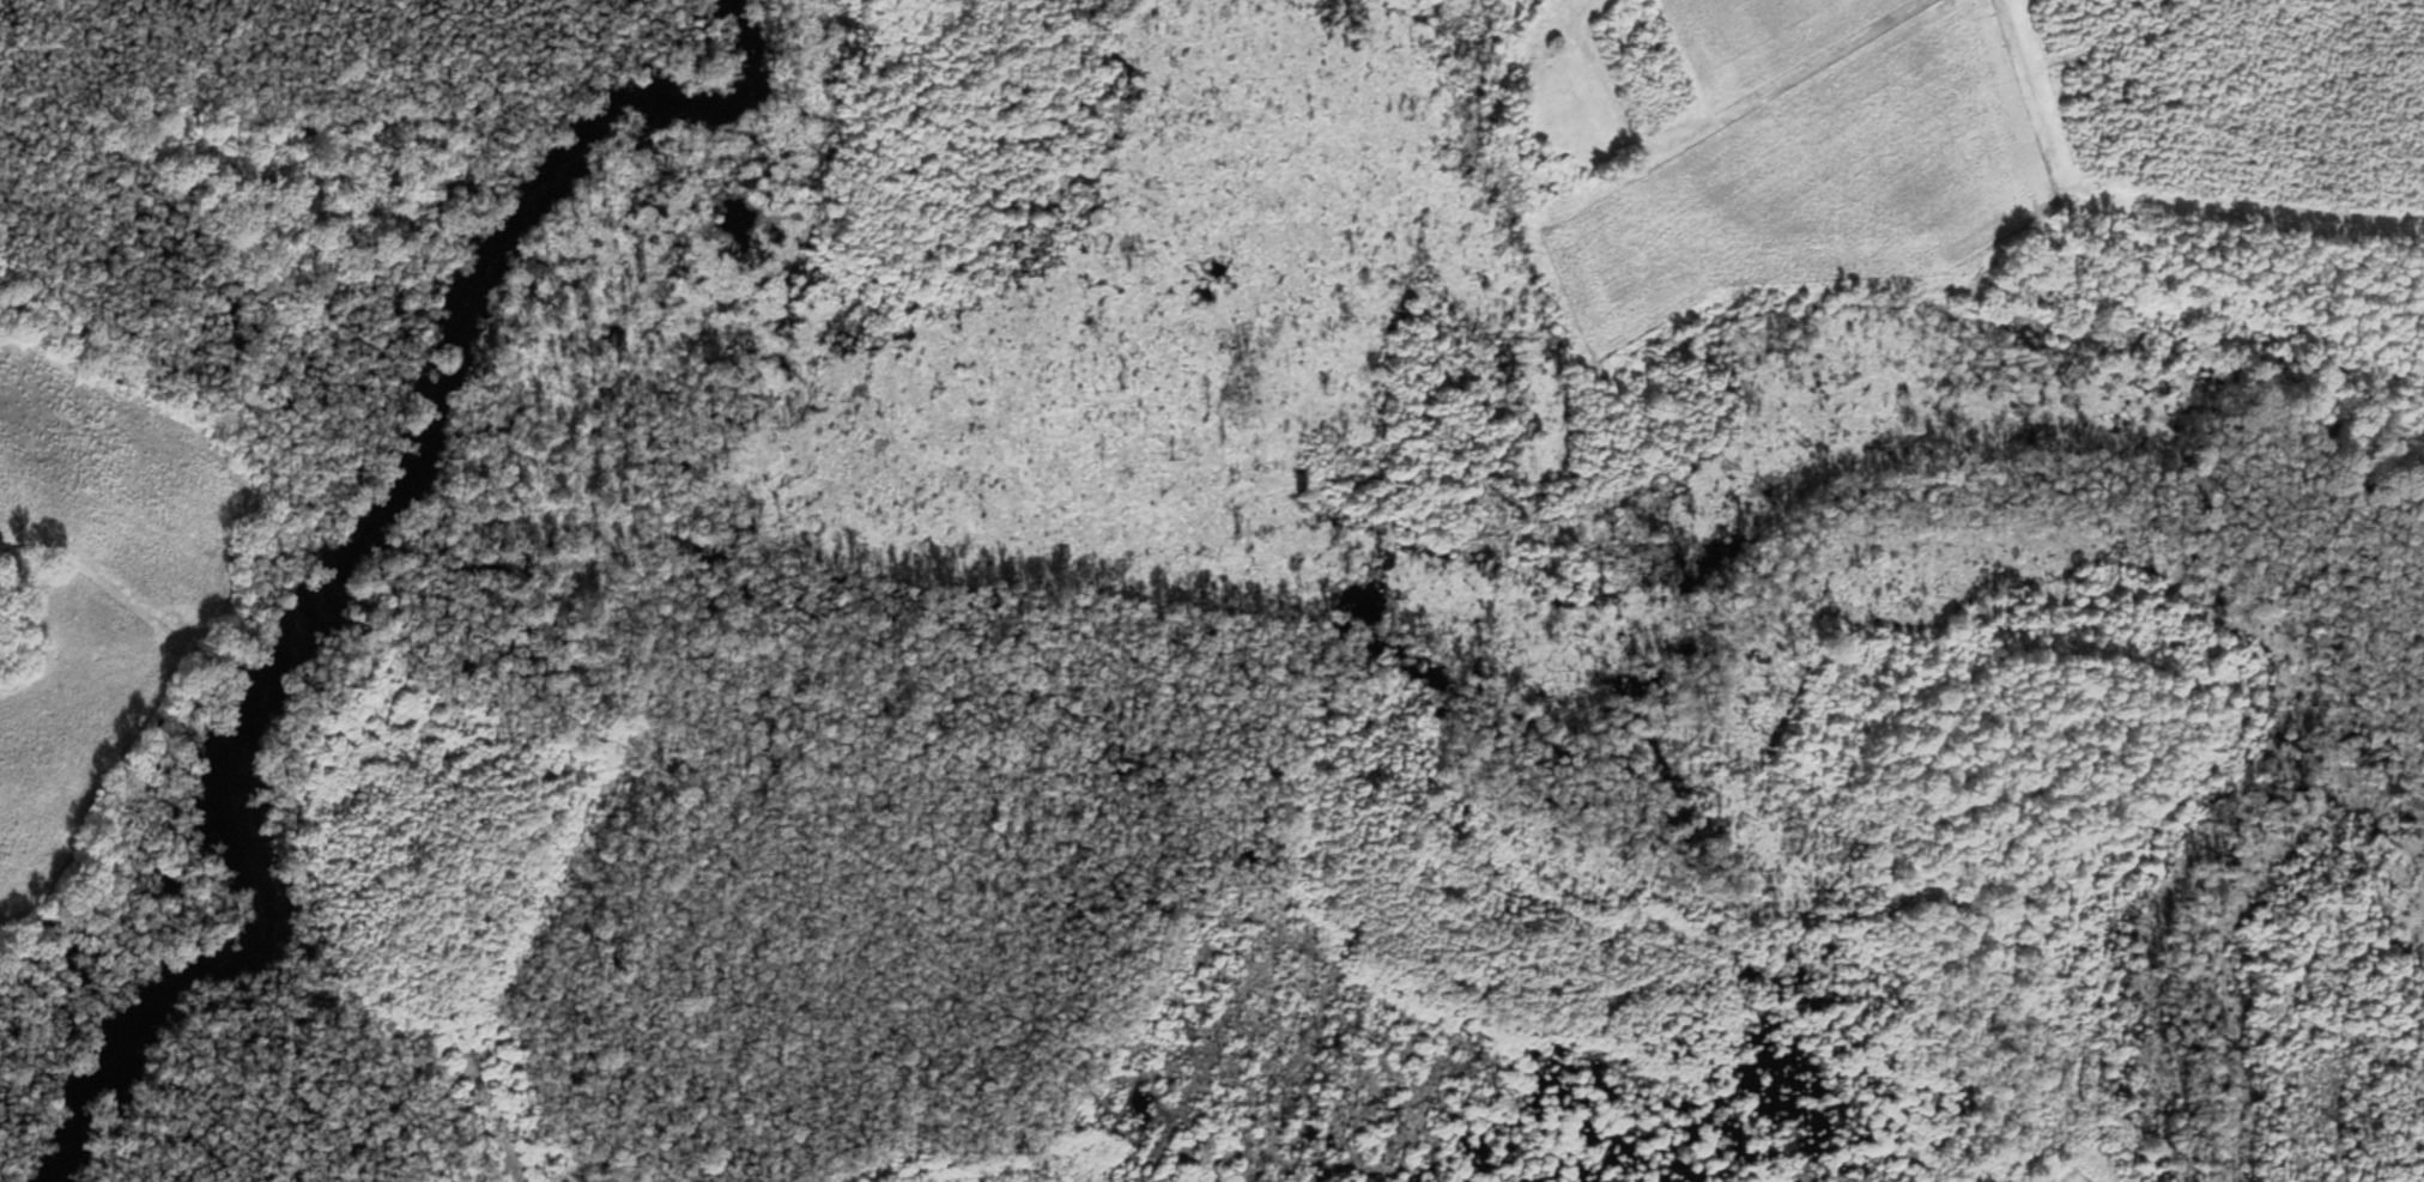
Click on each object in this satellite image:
road: (1717, 116)

